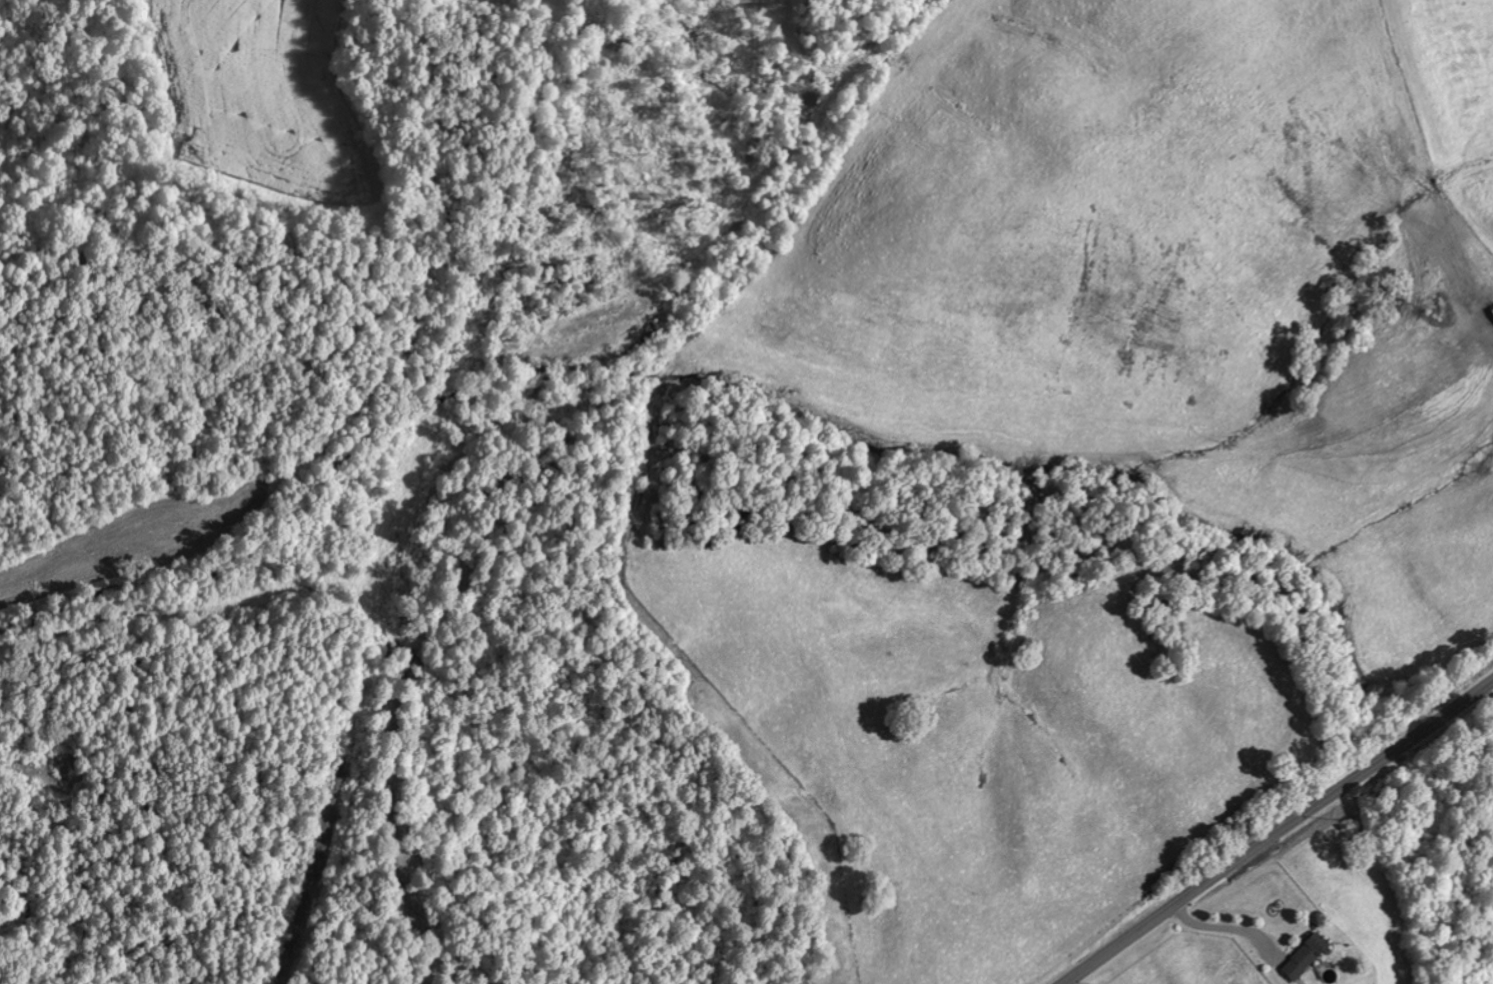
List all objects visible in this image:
building: (1490, 313)
road: (1278, 832)
building: (1301, 956)

